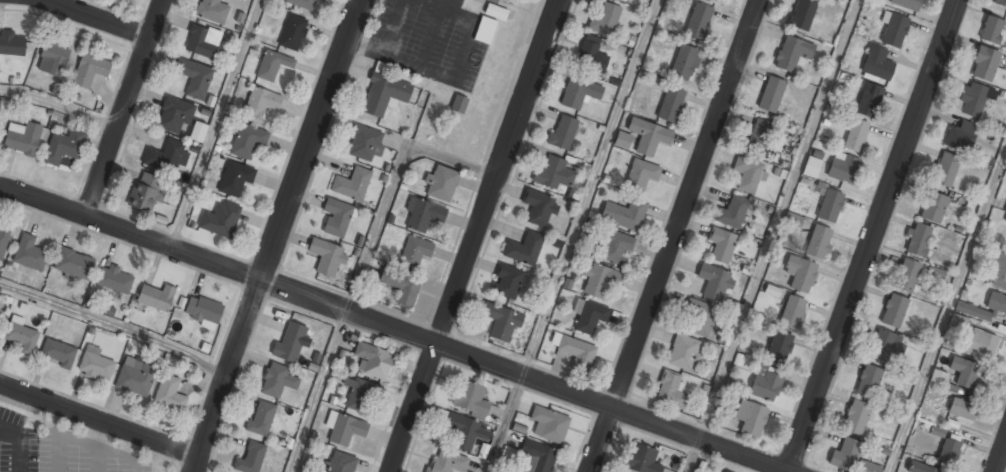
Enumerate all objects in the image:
building: (497, 1)
building: (1000, 3)
building: (302, 4)
building: (905, 4)
building: (212, 11)
building: (495, 12)
building: (802, 14)
road: (98, 19)
building: (605, 19)
building: (698, 20)
building: (893, 29)
building: (486, 30)
building: (991, 30)
building: (291, 31)
building: (202, 42)
building: (11, 45)
building: (792, 52)
building: (591, 55)
building: (53, 59)
building: (684, 61)
building: (877, 64)
building: (984, 64)
building: (272, 65)
building: (89, 70)
building: (194, 78)
building: (578, 92)
building: (384, 94)
building: (771, 94)
building: (972, 99)
building: (869, 100)
building: (260, 102)
building: (459, 103)
building: (670, 105)
road: (59, 106)
road: (124, 108)
building: (175, 115)
road: (213, 123)
building: (197, 131)
building: (563, 132)
building: (855, 135)
building: (648, 136)
building: (961, 136)
building: (758, 137)
building: (22, 139)
building: (247, 140)
building: (623, 140)
building: (364, 143)
building: (64, 146)
building: (165, 157)
building: (812, 167)
building: (842, 167)
building: (945, 170)
building: (641, 173)
building: (553, 174)
building: (747, 175)
building: (235, 178)
road: (394, 183)
building: (441, 183)
building: (352, 184)
road: (592, 188)
building: (146, 192)
building: (829, 206)
building: (539, 208)
building: (933, 208)
building: (732, 212)
building: (624, 214)
building: (423, 215)
building: (337, 218)
building: (220, 219)
road: (777, 220)
building: (792, 221)
building: (1005, 221)
road: (277, 235)
road: (871, 235)
road: (477, 236)
road: (674, 236)
building: (918, 240)
building: (3, 242)
building: (818, 242)
building: (721, 245)
building: (617, 248)
building: (524, 250)
building: (414, 252)
building: (29, 254)
building: (326, 258)
building: (74, 264)
building: (998, 270)
building: (800, 273)
building: (906, 275)
building: (115, 280)
building: (599, 280)
building: (507, 282)
building: (714, 282)
building: (401, 286)
building: (156, 297)
building: (996, 303)
road: (946, 307)
building: (203, 310)
building: (894, 311)
building: (792, 313)
building: (589, 316)
building: (698, 317)
building: (501, 322)
building: (958, 322)
road: (115, 326)
road: (395, 327)
building: (21, 336)
building: (289, 343)
building: (980, 345)
building: (885, 346)
building: (779, 347)
building: (575, 351)
building: (684, 352)
building: (57, 354)
building: (373, 361)
building: (95, 366)
building: (963, 372)
building: (135, 377)
building: (277, 380)
building: (868, 381)
building: (765, 383)
road: (318, 391)
building: (671, 392)
building: (170, 394)
building: (360, 395)
building: (470, 399)
building: (958, 412)
building: (856, 417)
building: (261, 418)
building: (751, 418)
road: (99, 421)
road: (508, 424)
building: (549, 424)
building: (345, 428)
building: (465, 432)
building: (948, 453)
building: (845, 454)
building: (537, 456)
road: (692, 456)
building: (250, 458)
road: (1001, 458)
building: (642, 459)
building: (341, 462)
building: (447, 462)
building: (868, 467)
building: (920, 468)
building: (724, 471)

